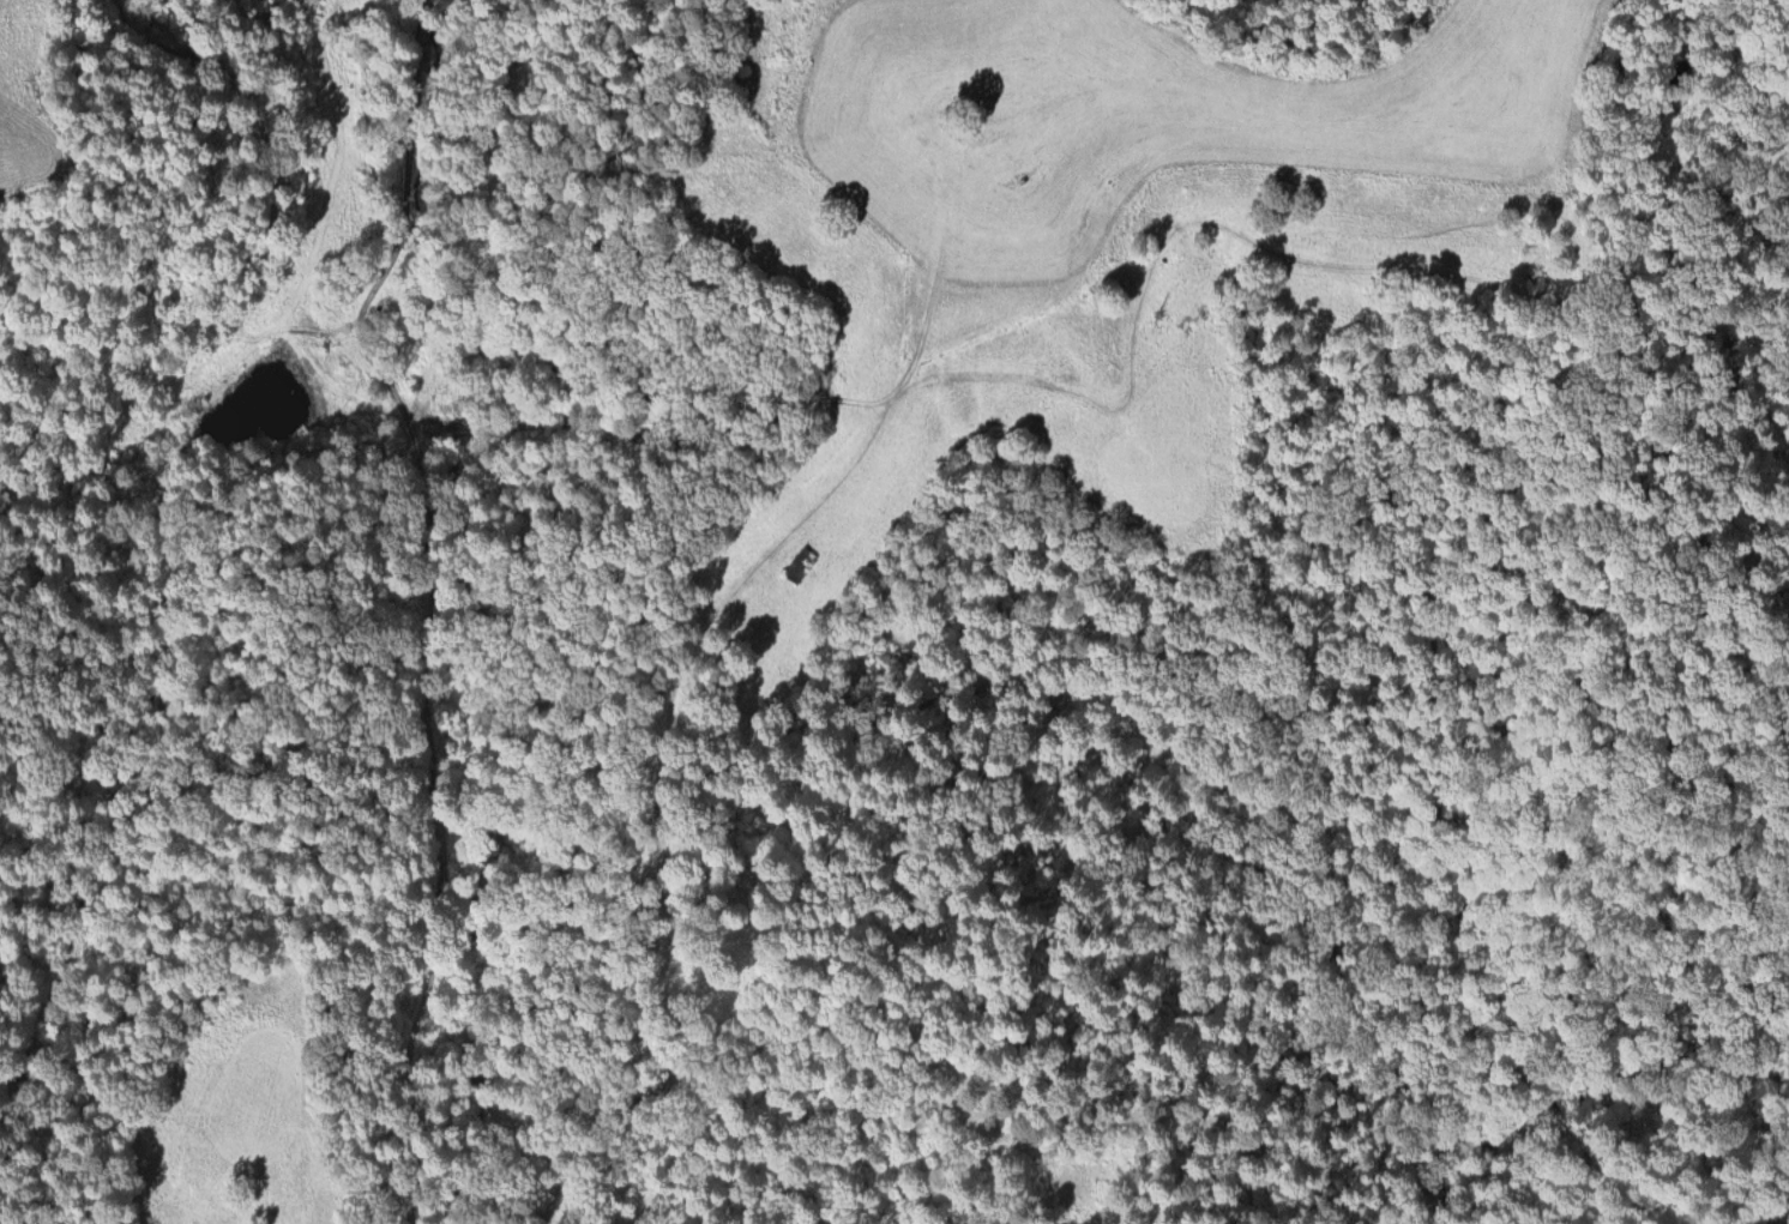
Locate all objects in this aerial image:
road: (272, 164)
road: (335, 186)
building: (800, 562)
road: (428, 605)
road: (662, 738)
road: (553, 1187)

